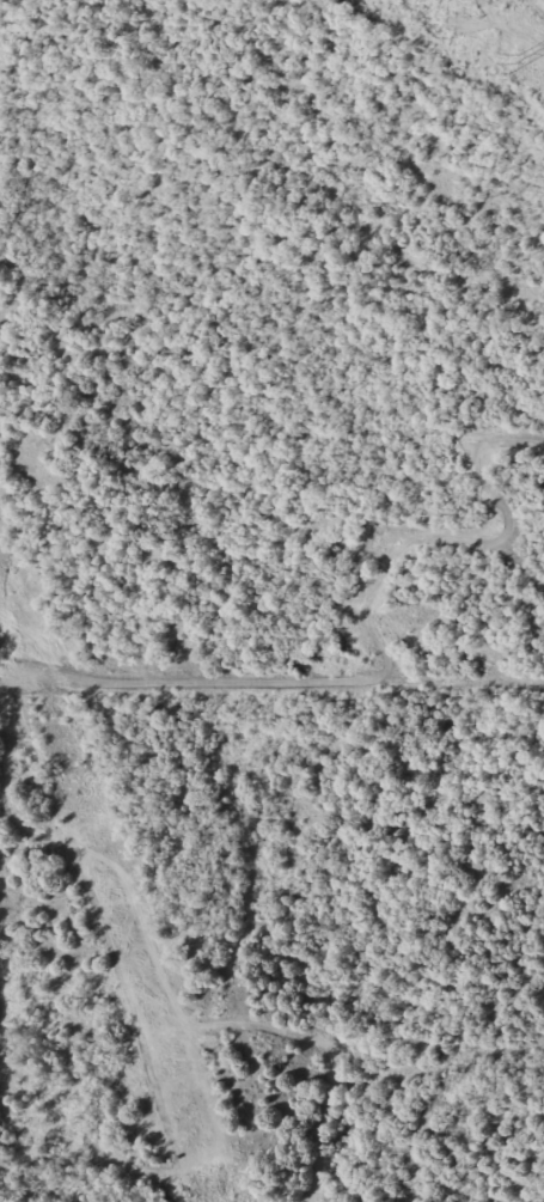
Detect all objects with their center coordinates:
road: (147, 925)

